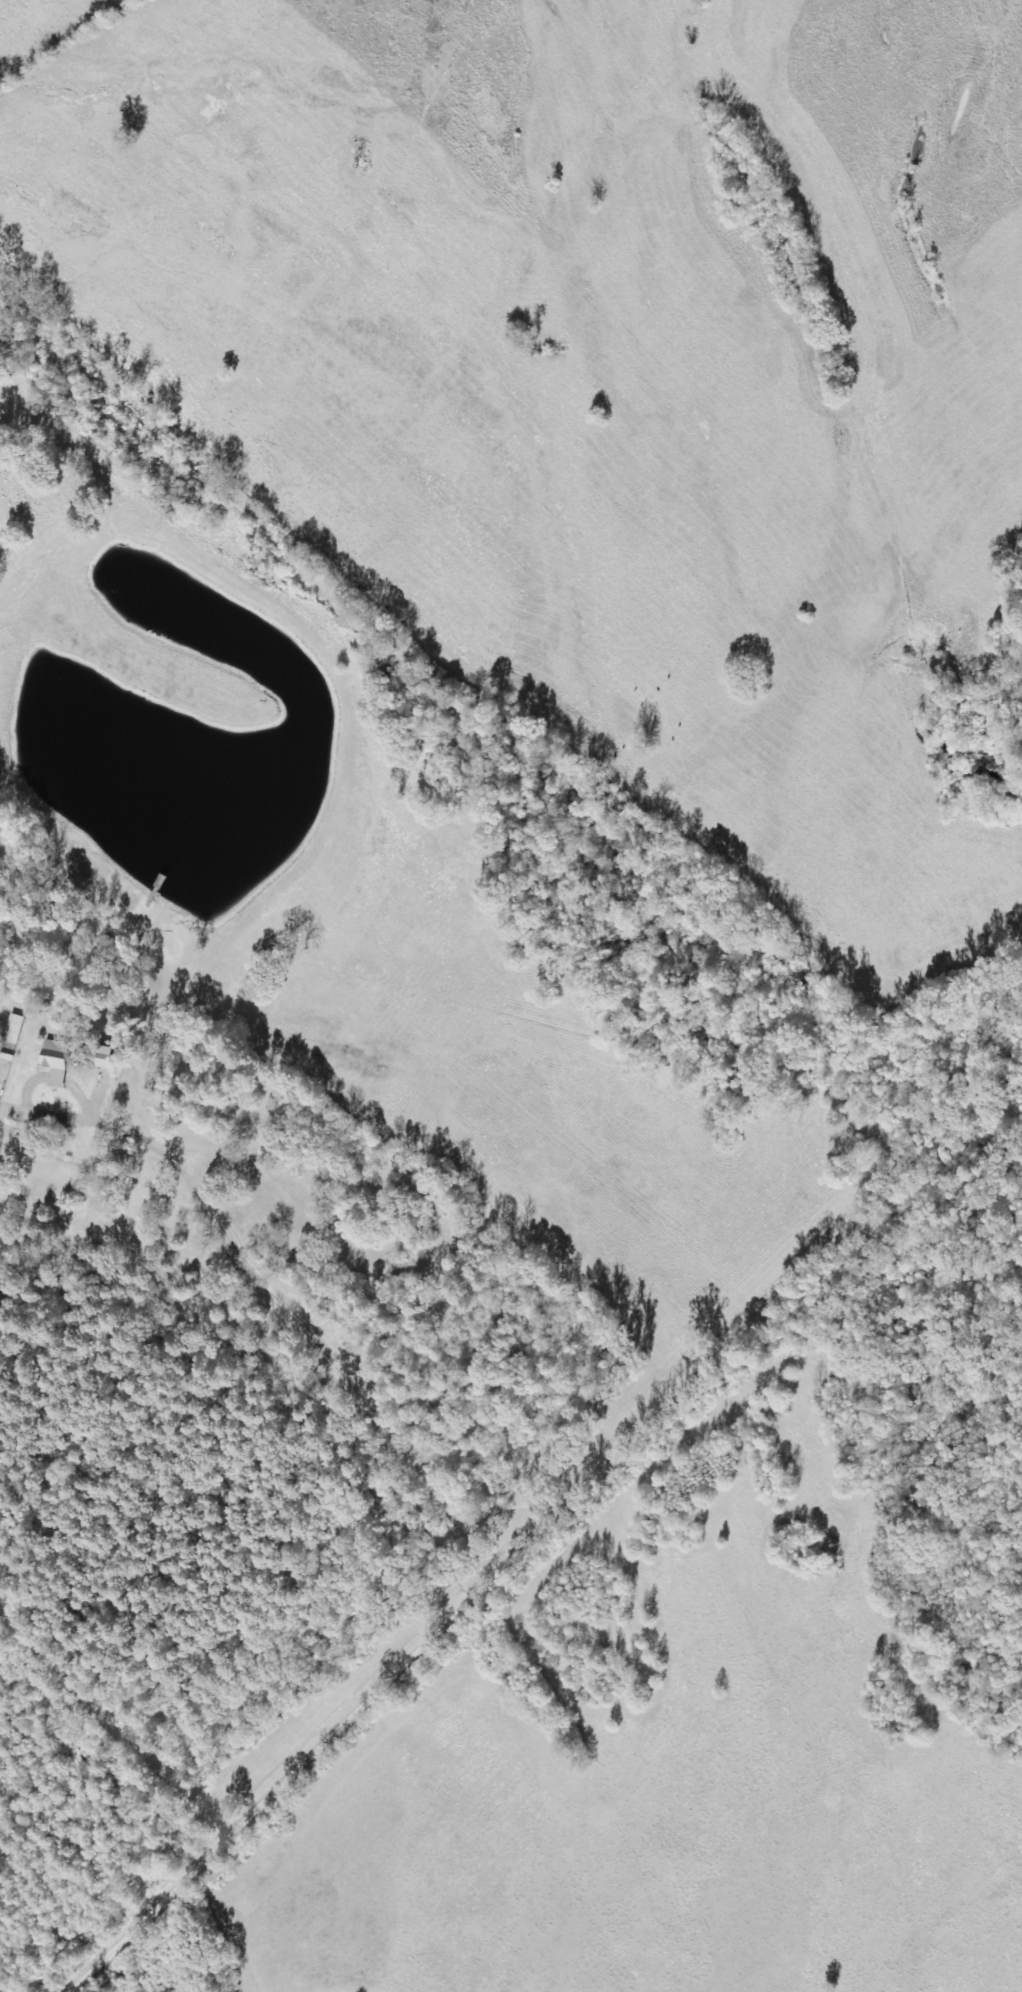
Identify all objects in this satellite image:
building: (14, 1031)
building: (106, 1058)
building: (56, 1061)
road: (898, 1242)
road: (217, 1563)
road: (411, 1637)

